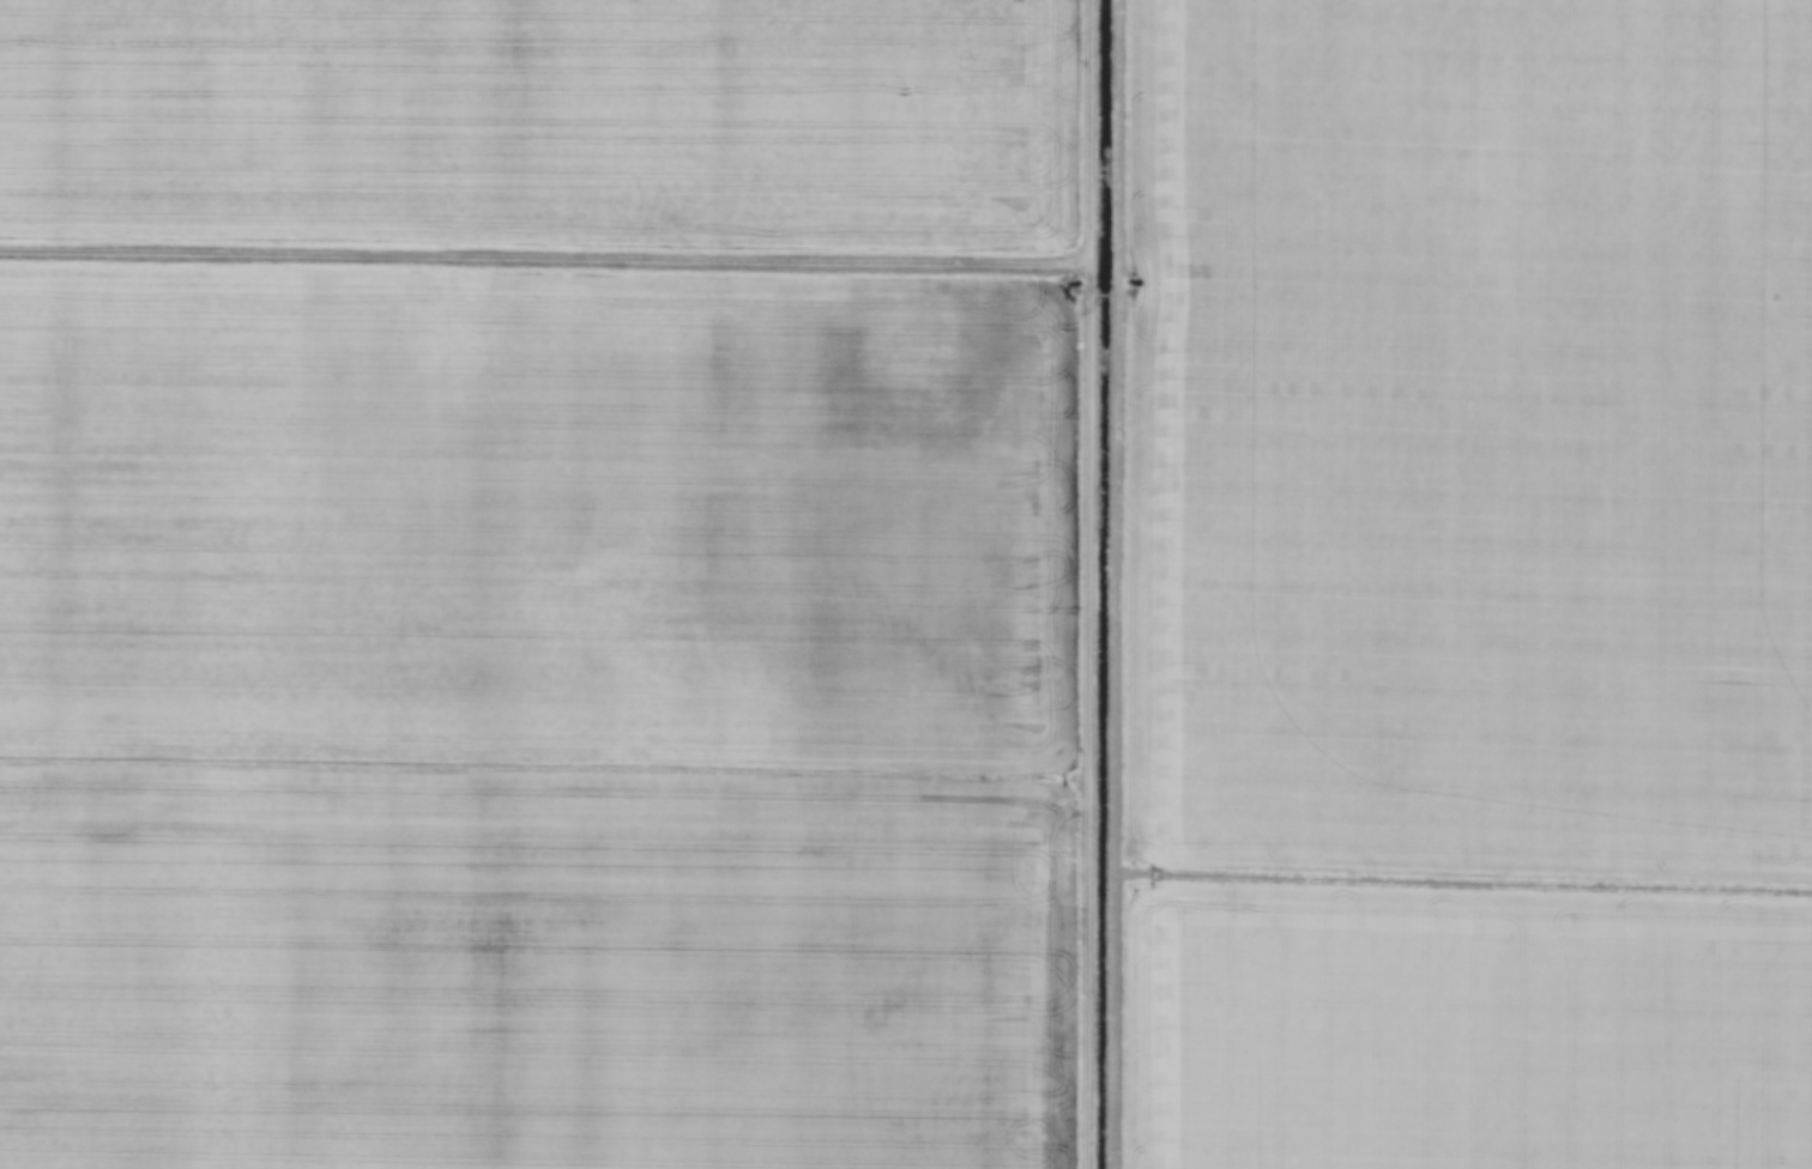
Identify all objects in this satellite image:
crop: (542, 126)
crop: (1458, 1029)

